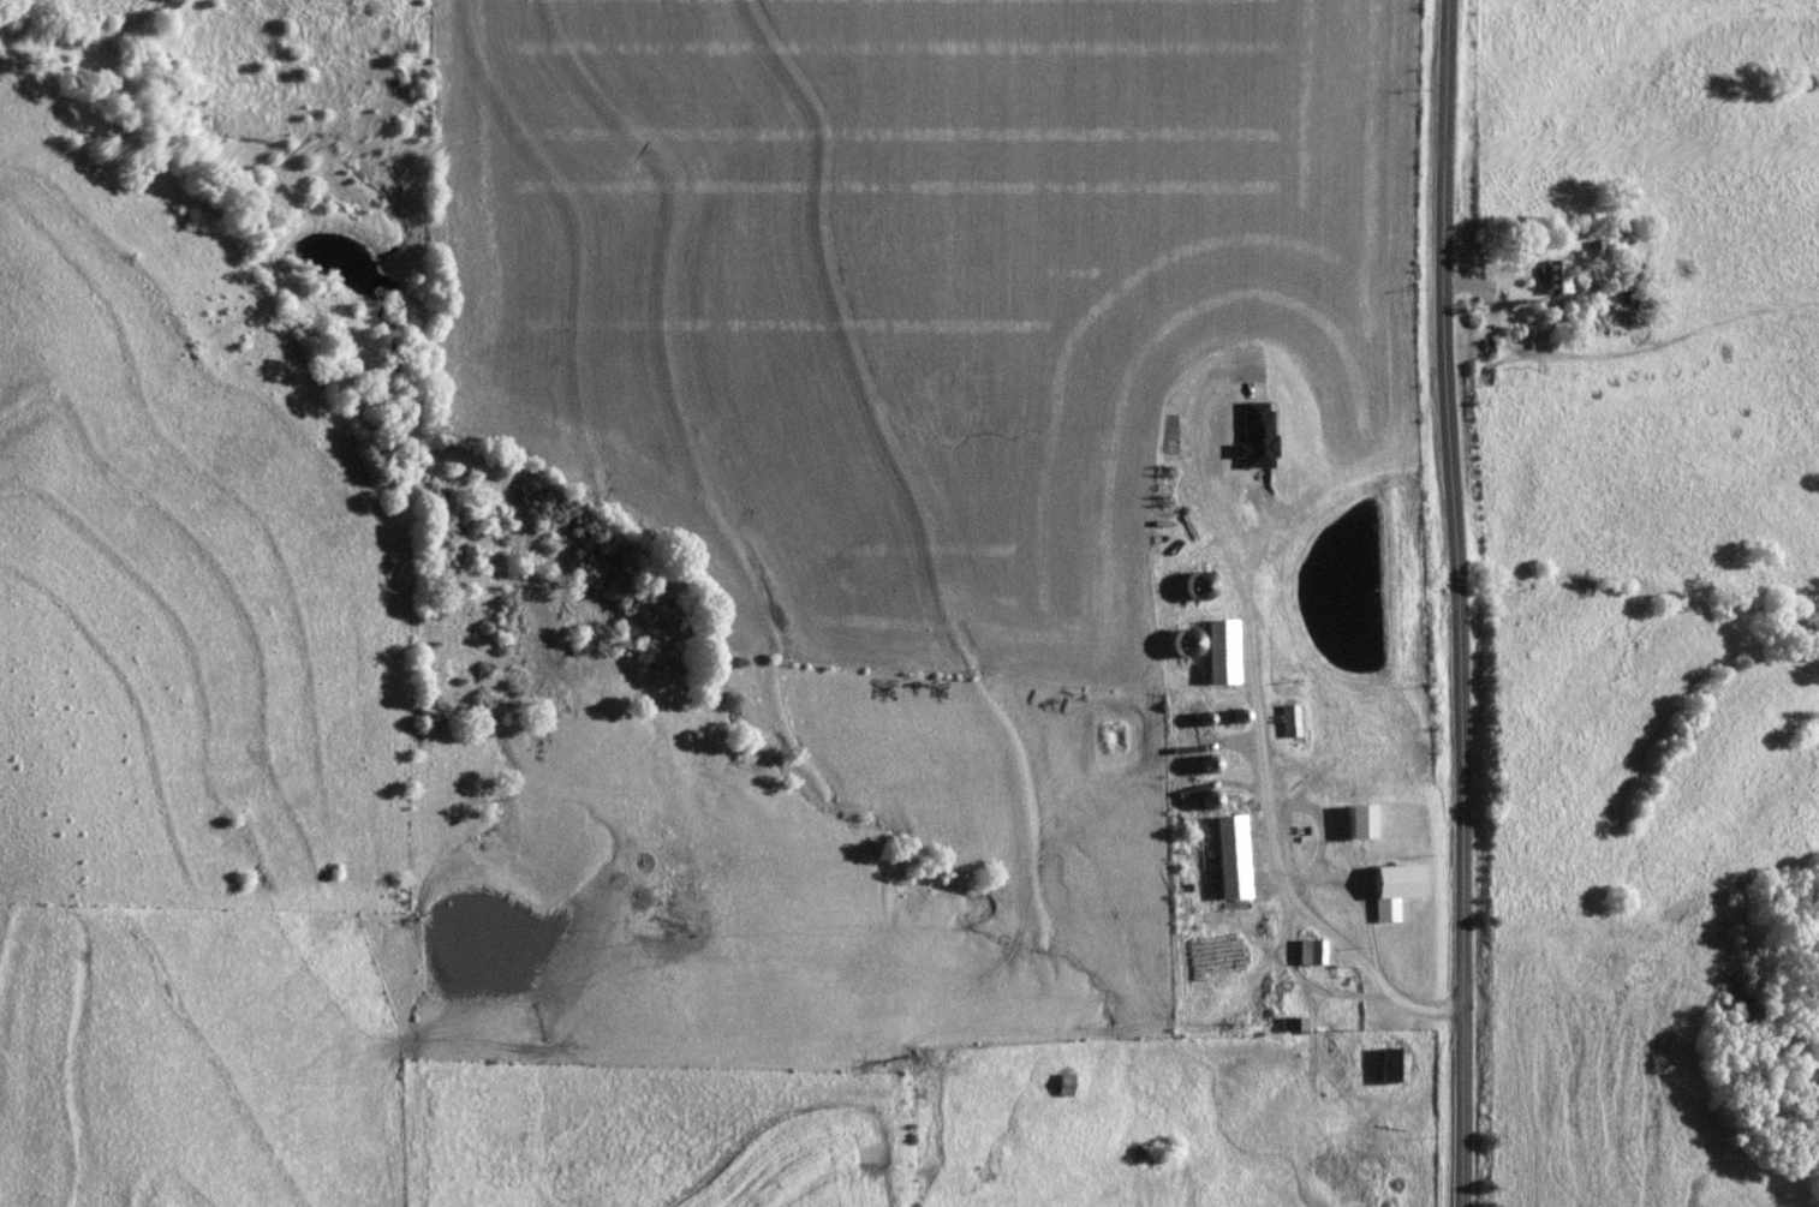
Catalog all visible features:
building: (1556, 276)
road: (1514, 315)
road: (1455, 603)
building: (1218, 652)
building: (1287, 721)
road: (1263, 793)
building: (1364, 808)
building: (1227, 858)
building: (1307, 952)
building: (1289, 1024)
building: (1390, 1065)
building: (1064, 1086)

